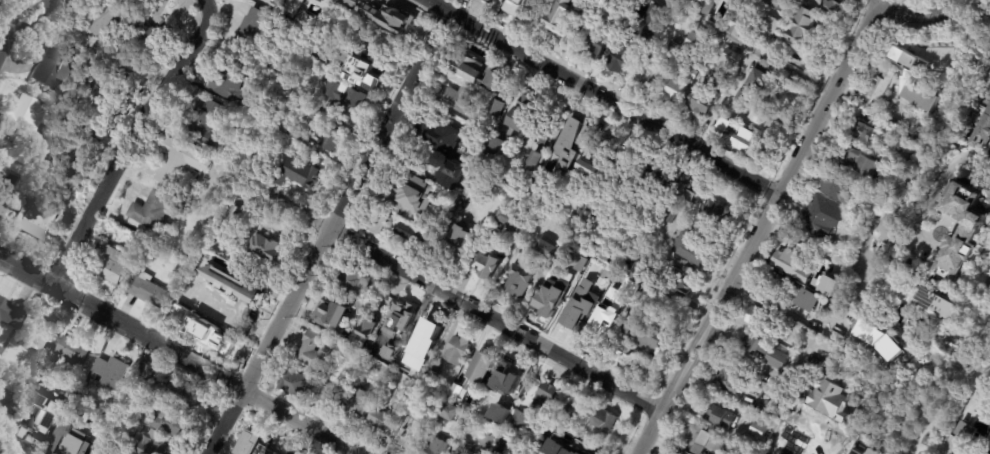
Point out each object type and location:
building: (323, 1)
building: (490, 1)
building: (615, 4)
building: (830, 5)
building: (293, 6)
building: (703, 6)
building: (513, 7)
road: (922, 7)
building: (381, 15)
building: (108, 16)
building: (563, 20)
road: (25, 23)
building: (734, 25)
building: (766, 26)
building: (800, 27)
building: (255, 29)
building: (146, 33)
building: (369, 39)
building: (634, 42)
building: (693, 45)
road: (745, 45)
building: (595, 46)
building: (672, 50)
building: (322, 56)
building: (728, 58)
building: (55, 68)
building: (467, 69)
building: (283, 71)
building: (682, 73)
building: (360, 74)
building: (647, 77)
building: (757, 78)
building: (233, 80)
building: (490, 80)
building: (911, 81)
building: (107, 87)
building: (877, 90)
building: (673, 92)
road: (604, 94)
building: (743, 97)
building: (454, 98)
road: (725, 98)
building: (343, 99)
building: (111, 102)
building: (699, 104)
building: (492, 109)
building: (45, 111)
building: (21, 116)
building: (517, 119)
building: (764, 119)
building: (723, 123)
building: (208, 125)
building: (978, 125)
building: (540, 128)
building: (860, 131)
building: (297, 134)
building: (582, 136)
road: (128, 138)
building: (328, 138)
building: (750, 145)
building: (564, 148)
building: (73, 151)
building: (442, 152)
building: (490, 152)
building: (591, 159)
building: (177, 161)
building: (854, 162)
building: (533, 163)
building: (629, 165)
building: (295, 174)
building: (0, 175)
road: (941, 181)
building: (473, 188)
building: (65, 189)
building: (837, 189)
building: (683, 192)
building: (406, 199)
building: (222, 203)
building: (27, 204)
building: (2, 208)
building: (822, 211)
building: (152, 212)
building: (715, 214)
building: (233, 216)
building: (508, 218)
building: (670, 219)
building: (38, 220)
building: (598, 222)
building: (373, 225)
road: (757, 226)
building: (885, 229)
road: (325, 230)
building: (967, 230)
building: (409, 233)
road: (810, 241)
building: (587, 246)
building: (688, 246)
building: (455, 247)
building: (266, 249)
building: (545, 249)
building: (891, 258)
building: (578, 262)
building: (789, 265)
building: (487, 266)
building: (112, 267)
building: (639, 277)
building: (352, 280)
building: (215, 281)
building: (516, 281)
building: (910, 281)
building: (677, 282)
building: (244, 284)
building: (777, 284)
building: (150, 293)
building: (550, 296)
road: (459, 298)
building: (386, 299)
building: (808, 300)
building: (213, 303)
building: (581, 304)
building: (937, 304)
building: (563, 305)
building: (196, 306)
building: (837, 309)
building: (9, 313)
building: (330, 314)
building: (234, 317)
road: (122, 319)
building: (177, 319)
building: (399, 320)
building: (762, 325)
building: (792, 326)
building: (894, 329)
building: (39, 330)
building: (360, 335)
building: (644, 336)
building: (214, 342)
building: (418, 347)
building: (1, 350)
building: (624, 350)
building: (313, 352)
building: (389, 352)
building: (456, 352)
building: (764, 353)
building: (72, 354)
building: (480, 368)
building: (147, 371)
building: (364, 371)
building: (112, 372)
building: (728, 378)
building: (43, 379)
building: (428, 380)
building: (505, 380)
building: (291, 384)
building: (455, 393)
building: (71, 394)
building: (184, 395)
building: (400, 395)
building: (544, 398)
building: (828, 399)
building: (8, 402)
building: (330, 402)
building: (355, 405)
building: (572, 405)
building: (766, 410)
building: (715, 412)
building: (447, 413)
building: (498, 414)
road: (302, 419)
building: (602, 419)
building: (517, 420)
building: (167, 422)
building: (377, 422)
building: (35, 424)
building: (785, 424)
building: (758, 427)
building: (968, 432)
building: (154, 433)
building: (403, 433)
building: (706, 440)
building: (255, 441)
building: (486, 441)
building: (72, 442)
building: (152, 446)
building: (564, 447)
building: (786, 447)
road: (813, 447)
building: (461, 448)
building: (436, 449)
building: (497, 449)
building: (989, 449)
building: (291, 451)
building: (856, 452)
building: (868, 452)
building: (742, 453)

